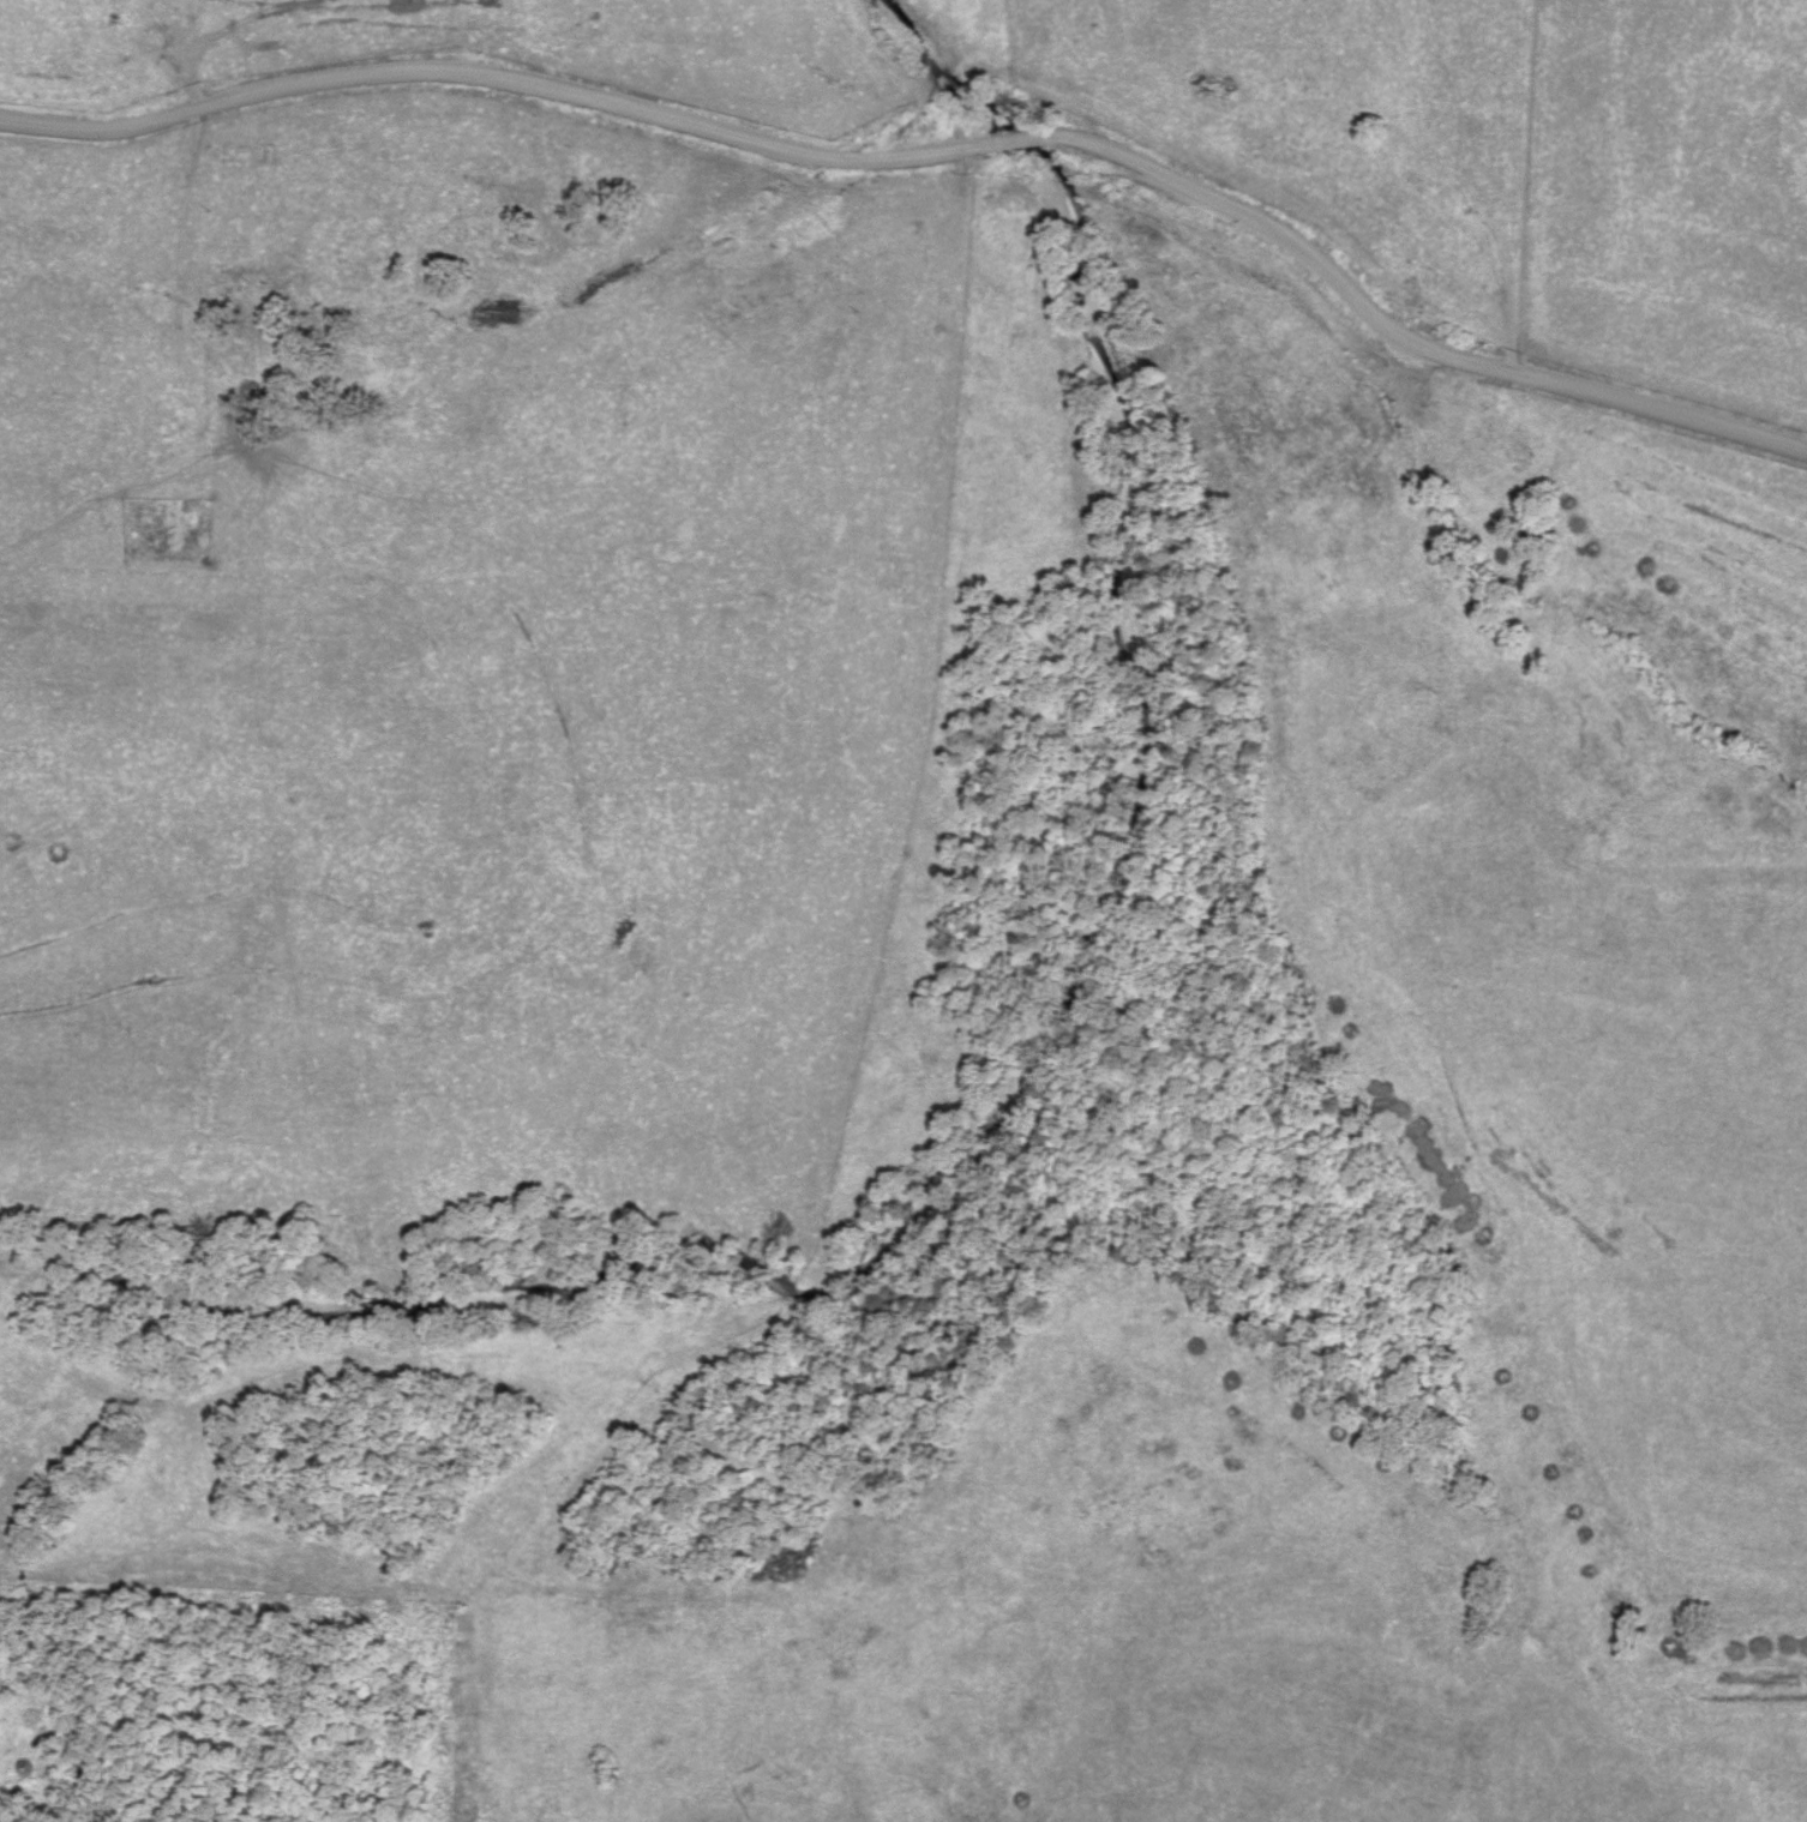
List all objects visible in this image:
road: (938, 154)
road: (166, 282)
park: (164, 531)

